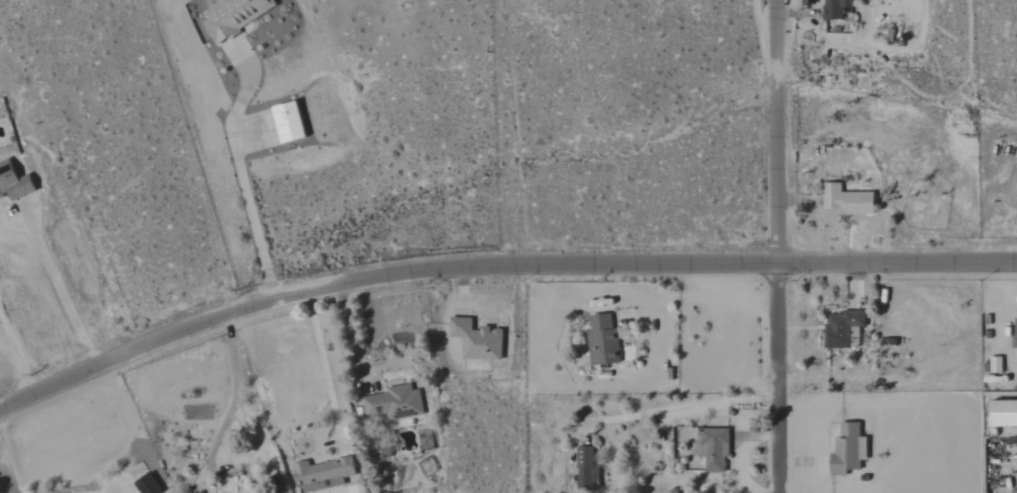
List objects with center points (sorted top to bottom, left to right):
building: (837, 9)
building: (236, 16)
building: (291, 124)
building: (14, 182)
road: (240, 186)
building: (849, 201)
road: (778, 246)
road: (496, 266)
road: (60, 293)
building: (844, 329)
road: (352, 333)
building: (1015, 333)
building: (478, 339)
building: (603, 341)
building: (996, 364)
road: (323, 368)
building: (395, 403)
road: (683, 410)
building: (1003, 413)
road: (220, 431)
building: (426, 440)
building: (714, 448)
building: (850, 449)
building: (587, 470)
building: (324, 474)
road: (5, 475)
building: (150, 484)
road: (116, 489)

